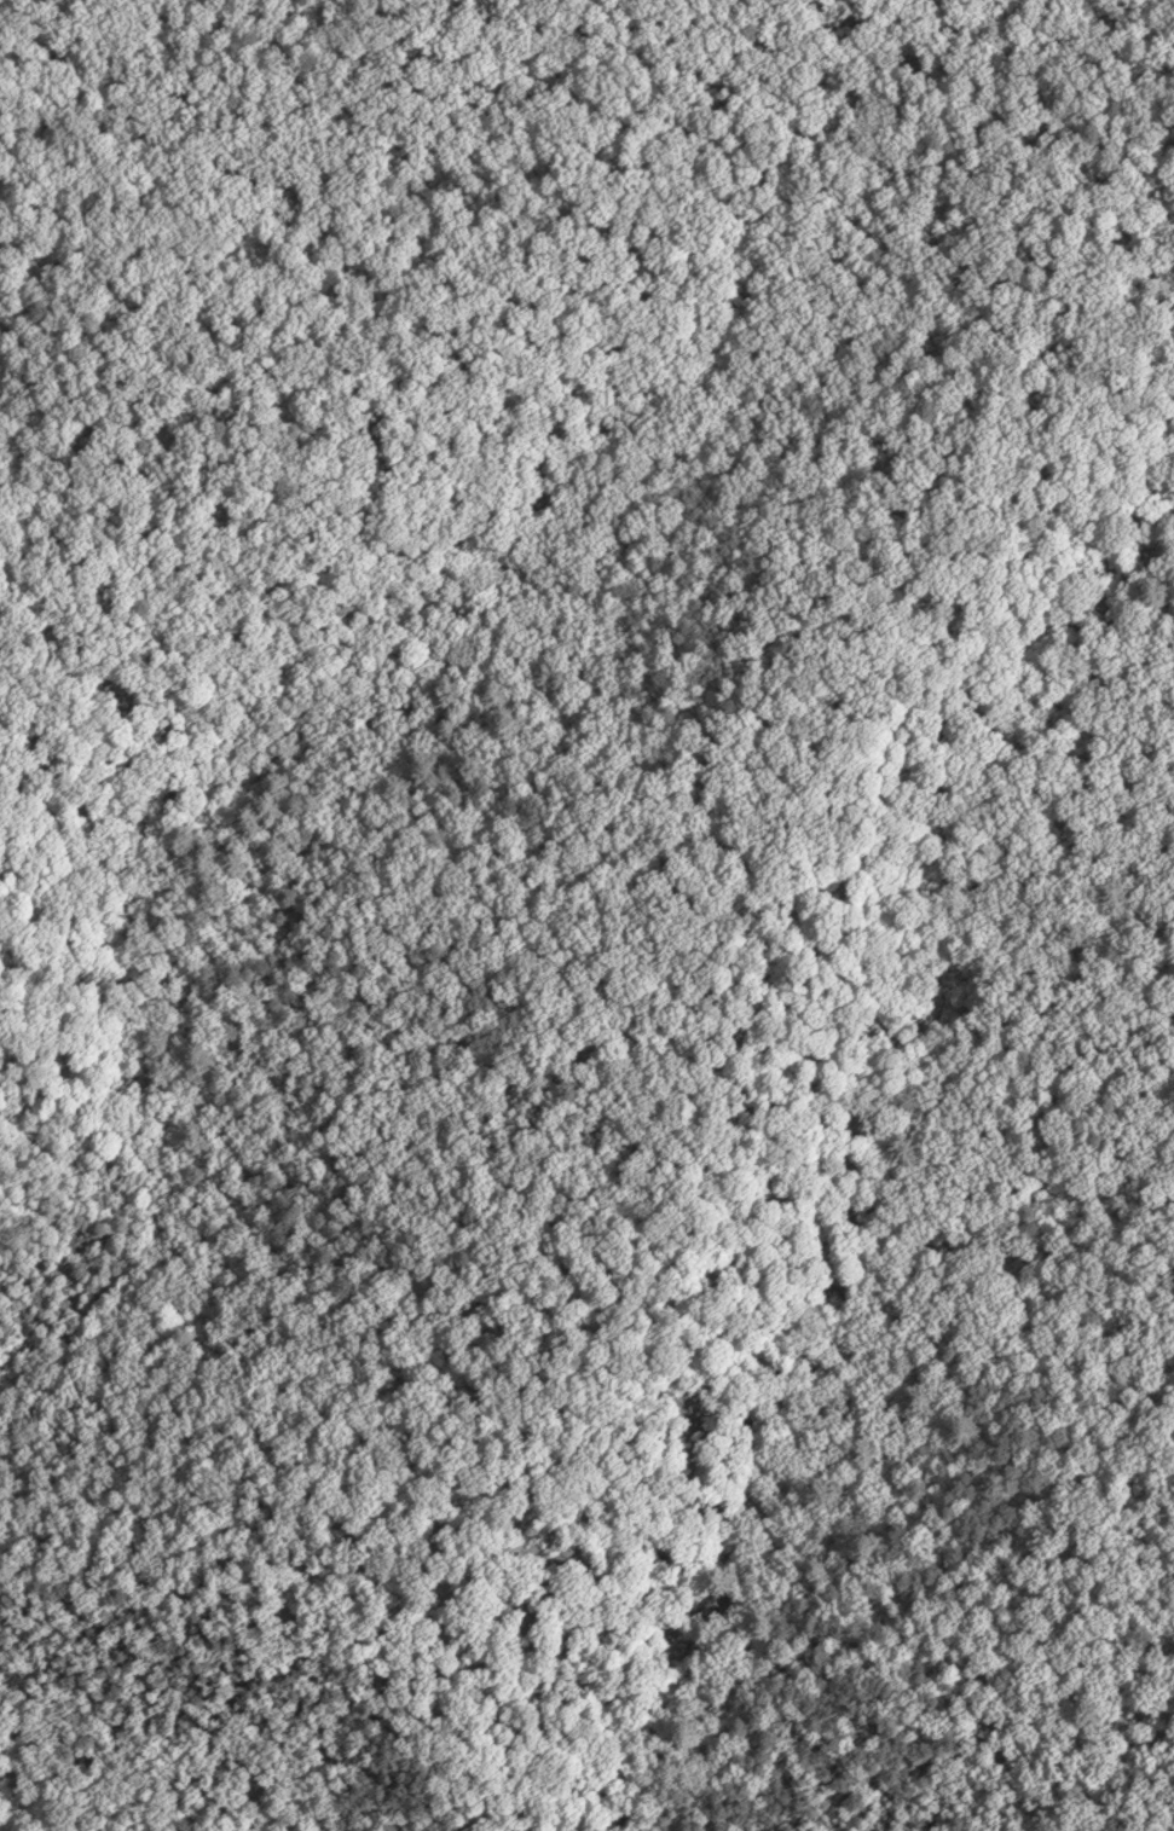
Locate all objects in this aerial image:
road: (48, 1802)

